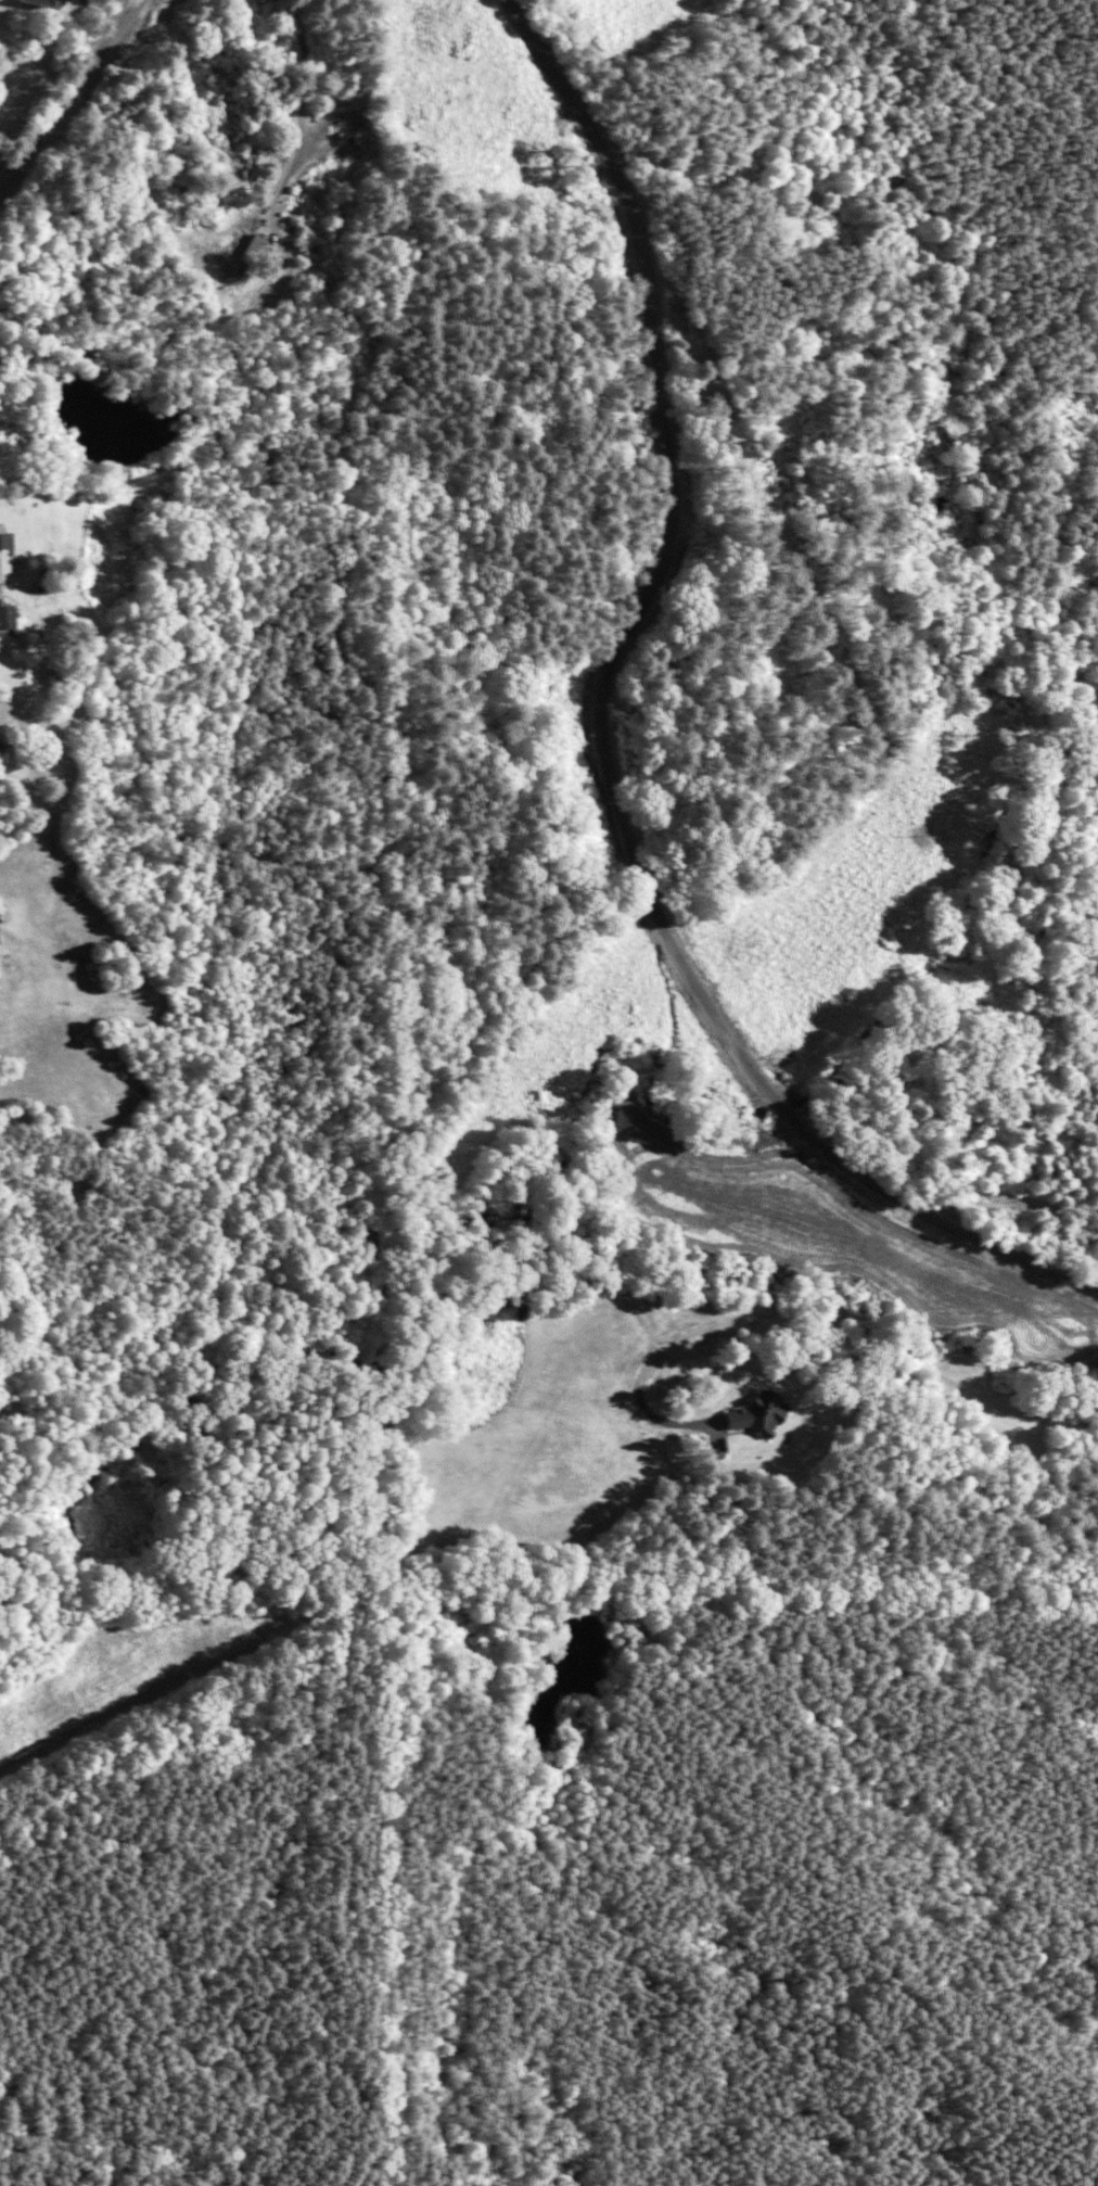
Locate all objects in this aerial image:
building: (25, 3)
road: (62, 103)
road: (327, 110)
building: (340, 110)
building: (233, 266)
building: (3, 542)
road: (2, 575)
building: (1, 618)
road: (604, 739)
road: (1047, 1175)
road: (821, 1327)

